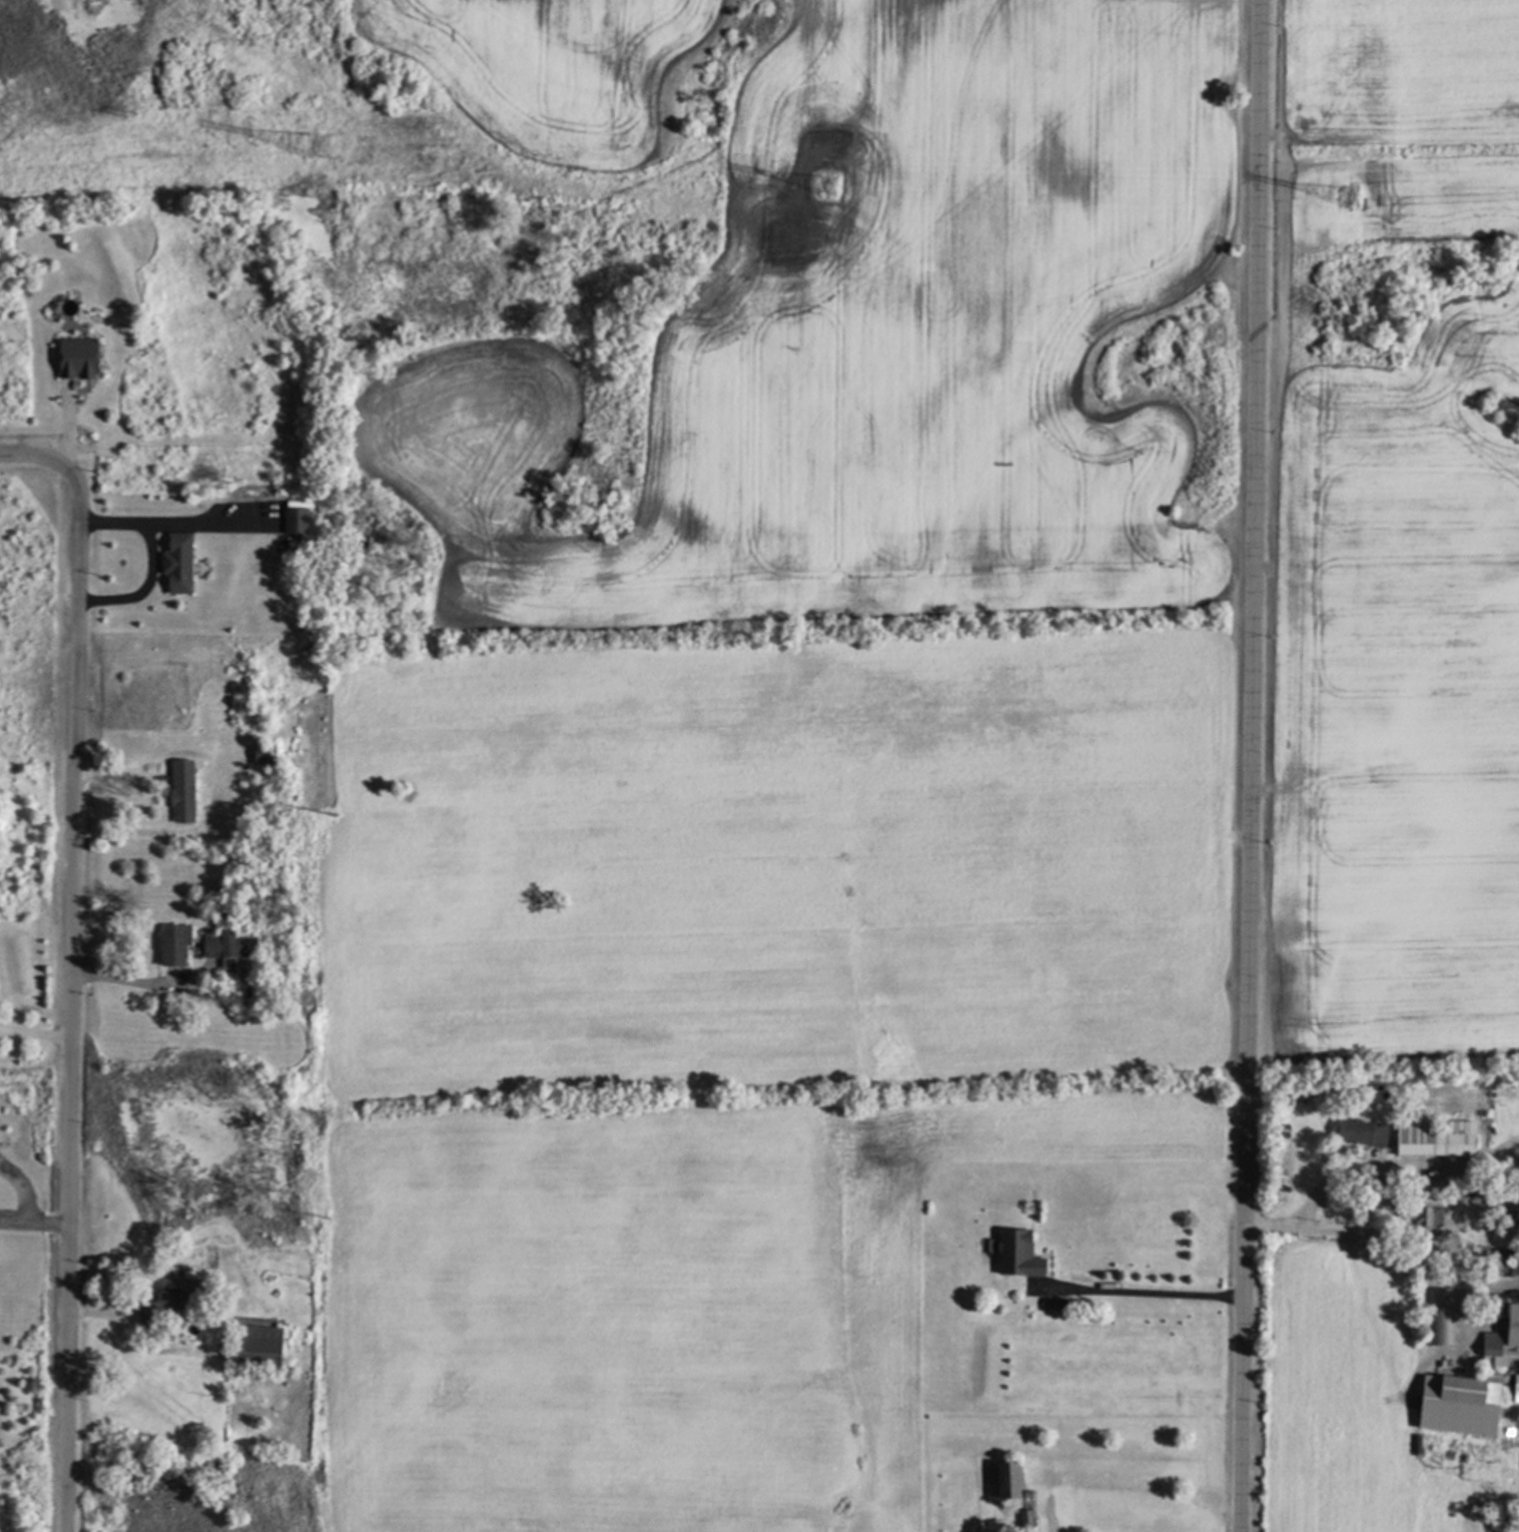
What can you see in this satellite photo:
power tower: (306, 159)
power tower: (813, 200)
power tower: (1338, 211)
landfill: (723, 295)
building: (81, 360)
road: (33, 448)
building: (299, 522)
crop: (1396, 535)
road: (152, 563)
building: (180, 565)
landfill: (33, 691)
building: (266, 755)
road: (1249, 765)
building: (184, 792)
building: (234, 946)
building: (177, 948)
road: (123, 981)
road: (69, 996)
road: (34, 1035)
crop: (736, 1049)
building: (1356, 1131)
building: (1432, 1137)
building: (1423, 1215)
road: (1331, 1233)
building: (1013, 1253)
road: (1139, 1294)
building: (174, 1303)
building: (1440, 1316)
building: (1501, 1338)
building: (260, 1350)
building: (1001, 1478)
building: (1023, 1517)

